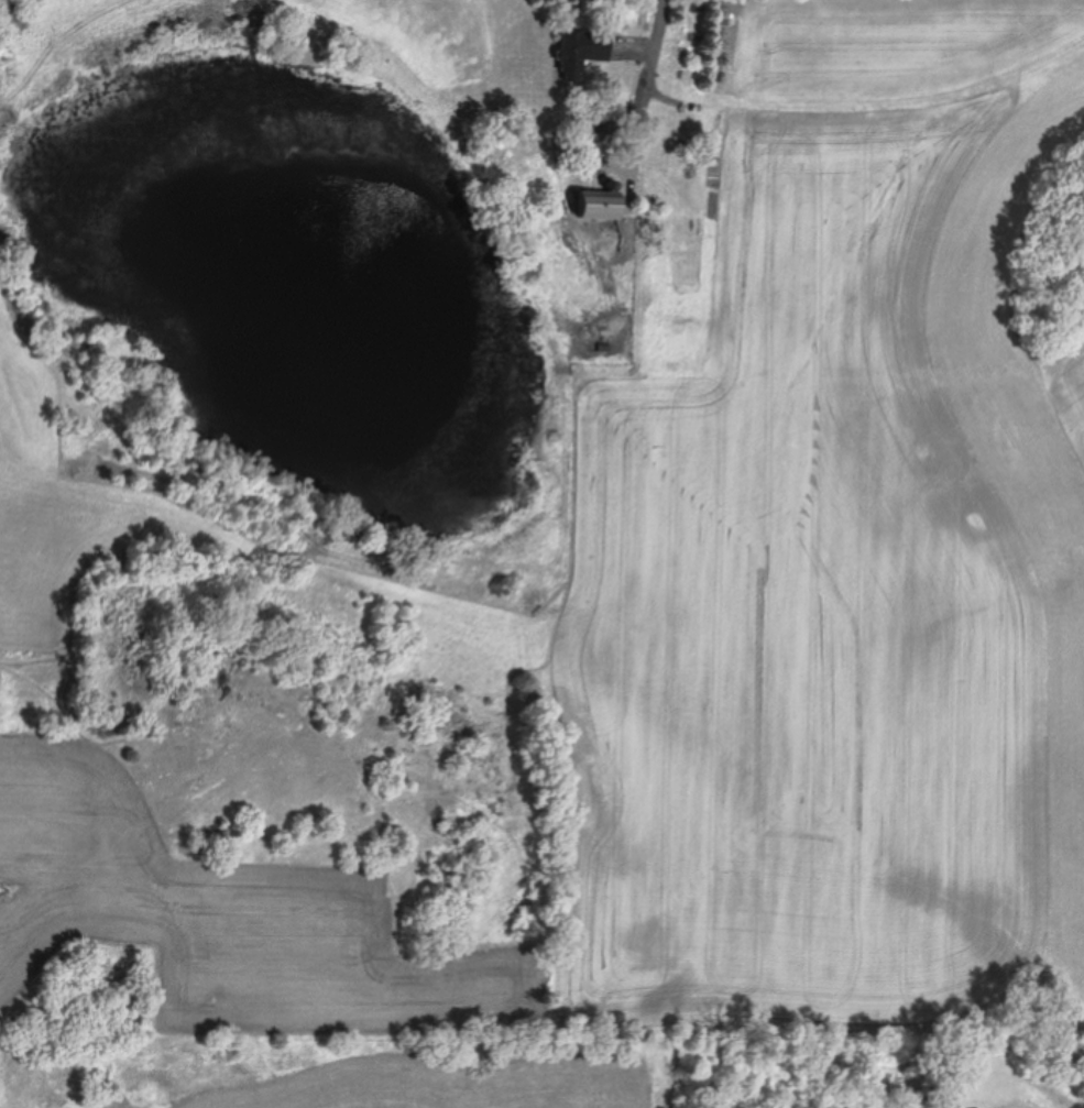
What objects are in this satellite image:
building: (581, 51)
road: (646, 79)
building: (598, 205)

